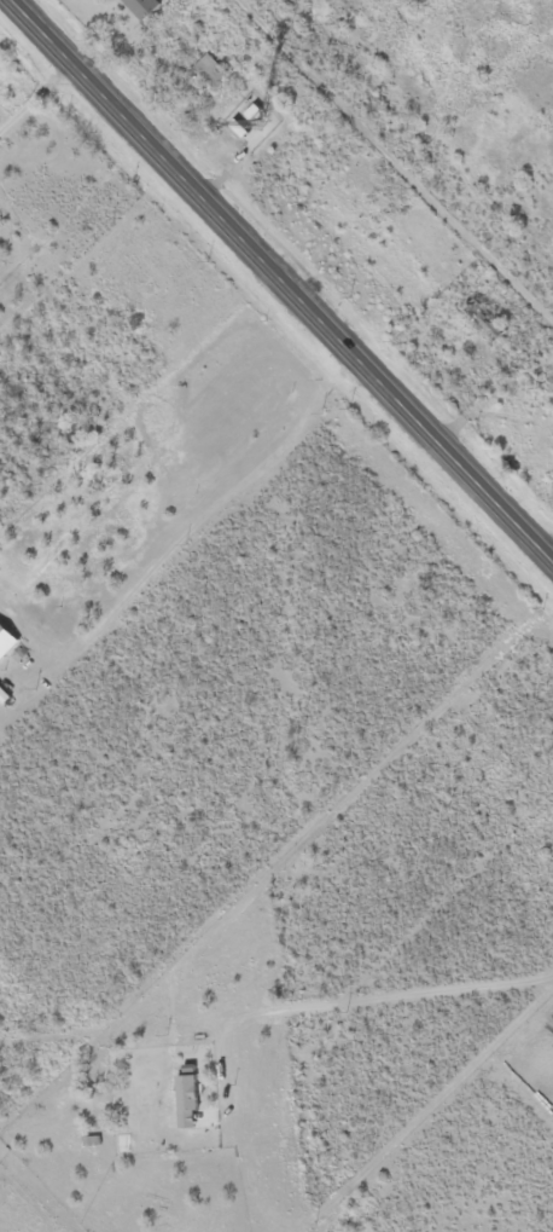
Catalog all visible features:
building: (142, 5)
road: (281, 280)
road: (274, 996)
building: (186, 1087)

